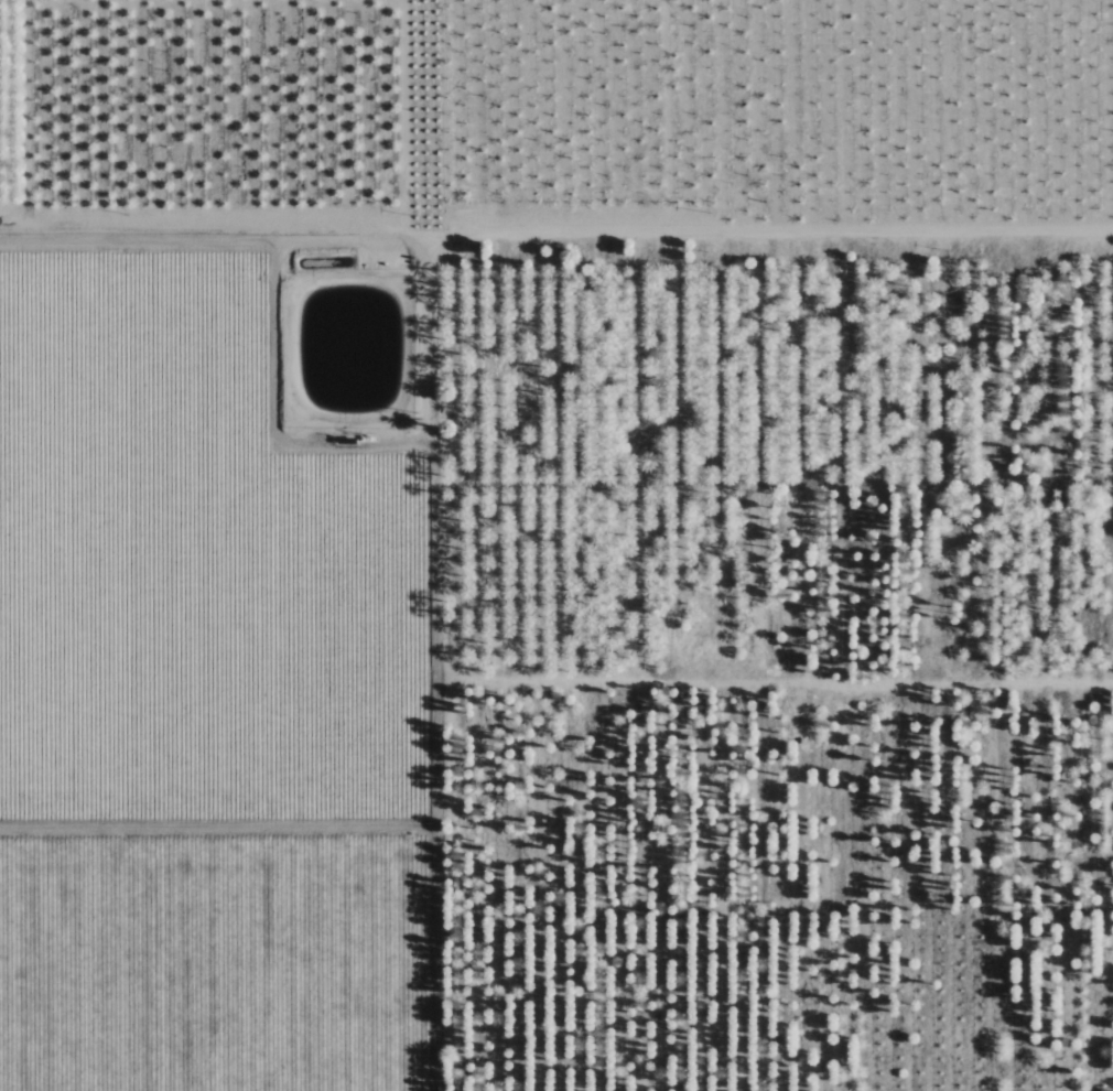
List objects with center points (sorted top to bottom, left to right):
road: (556, 237)

